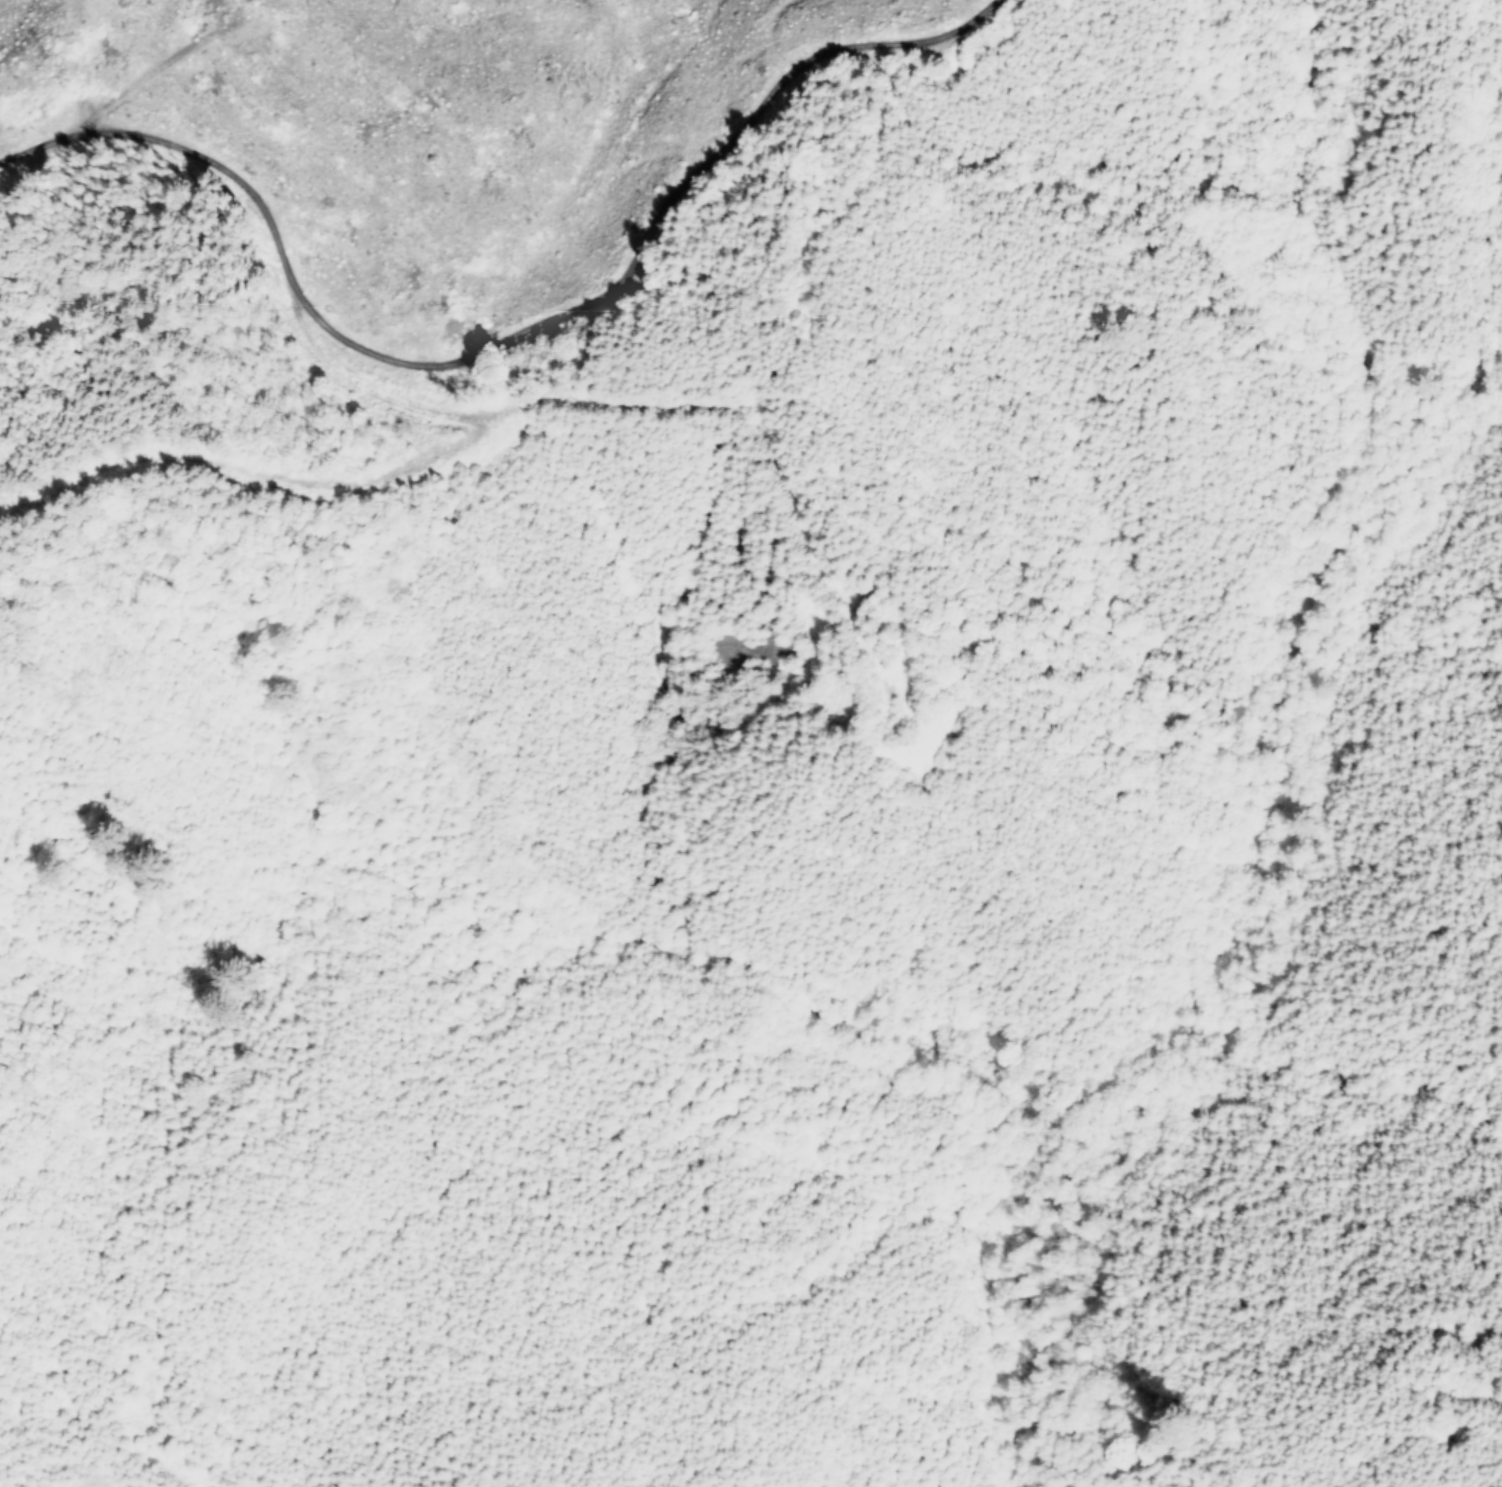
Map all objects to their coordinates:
road: (403, 365)
road: (673, 464)

